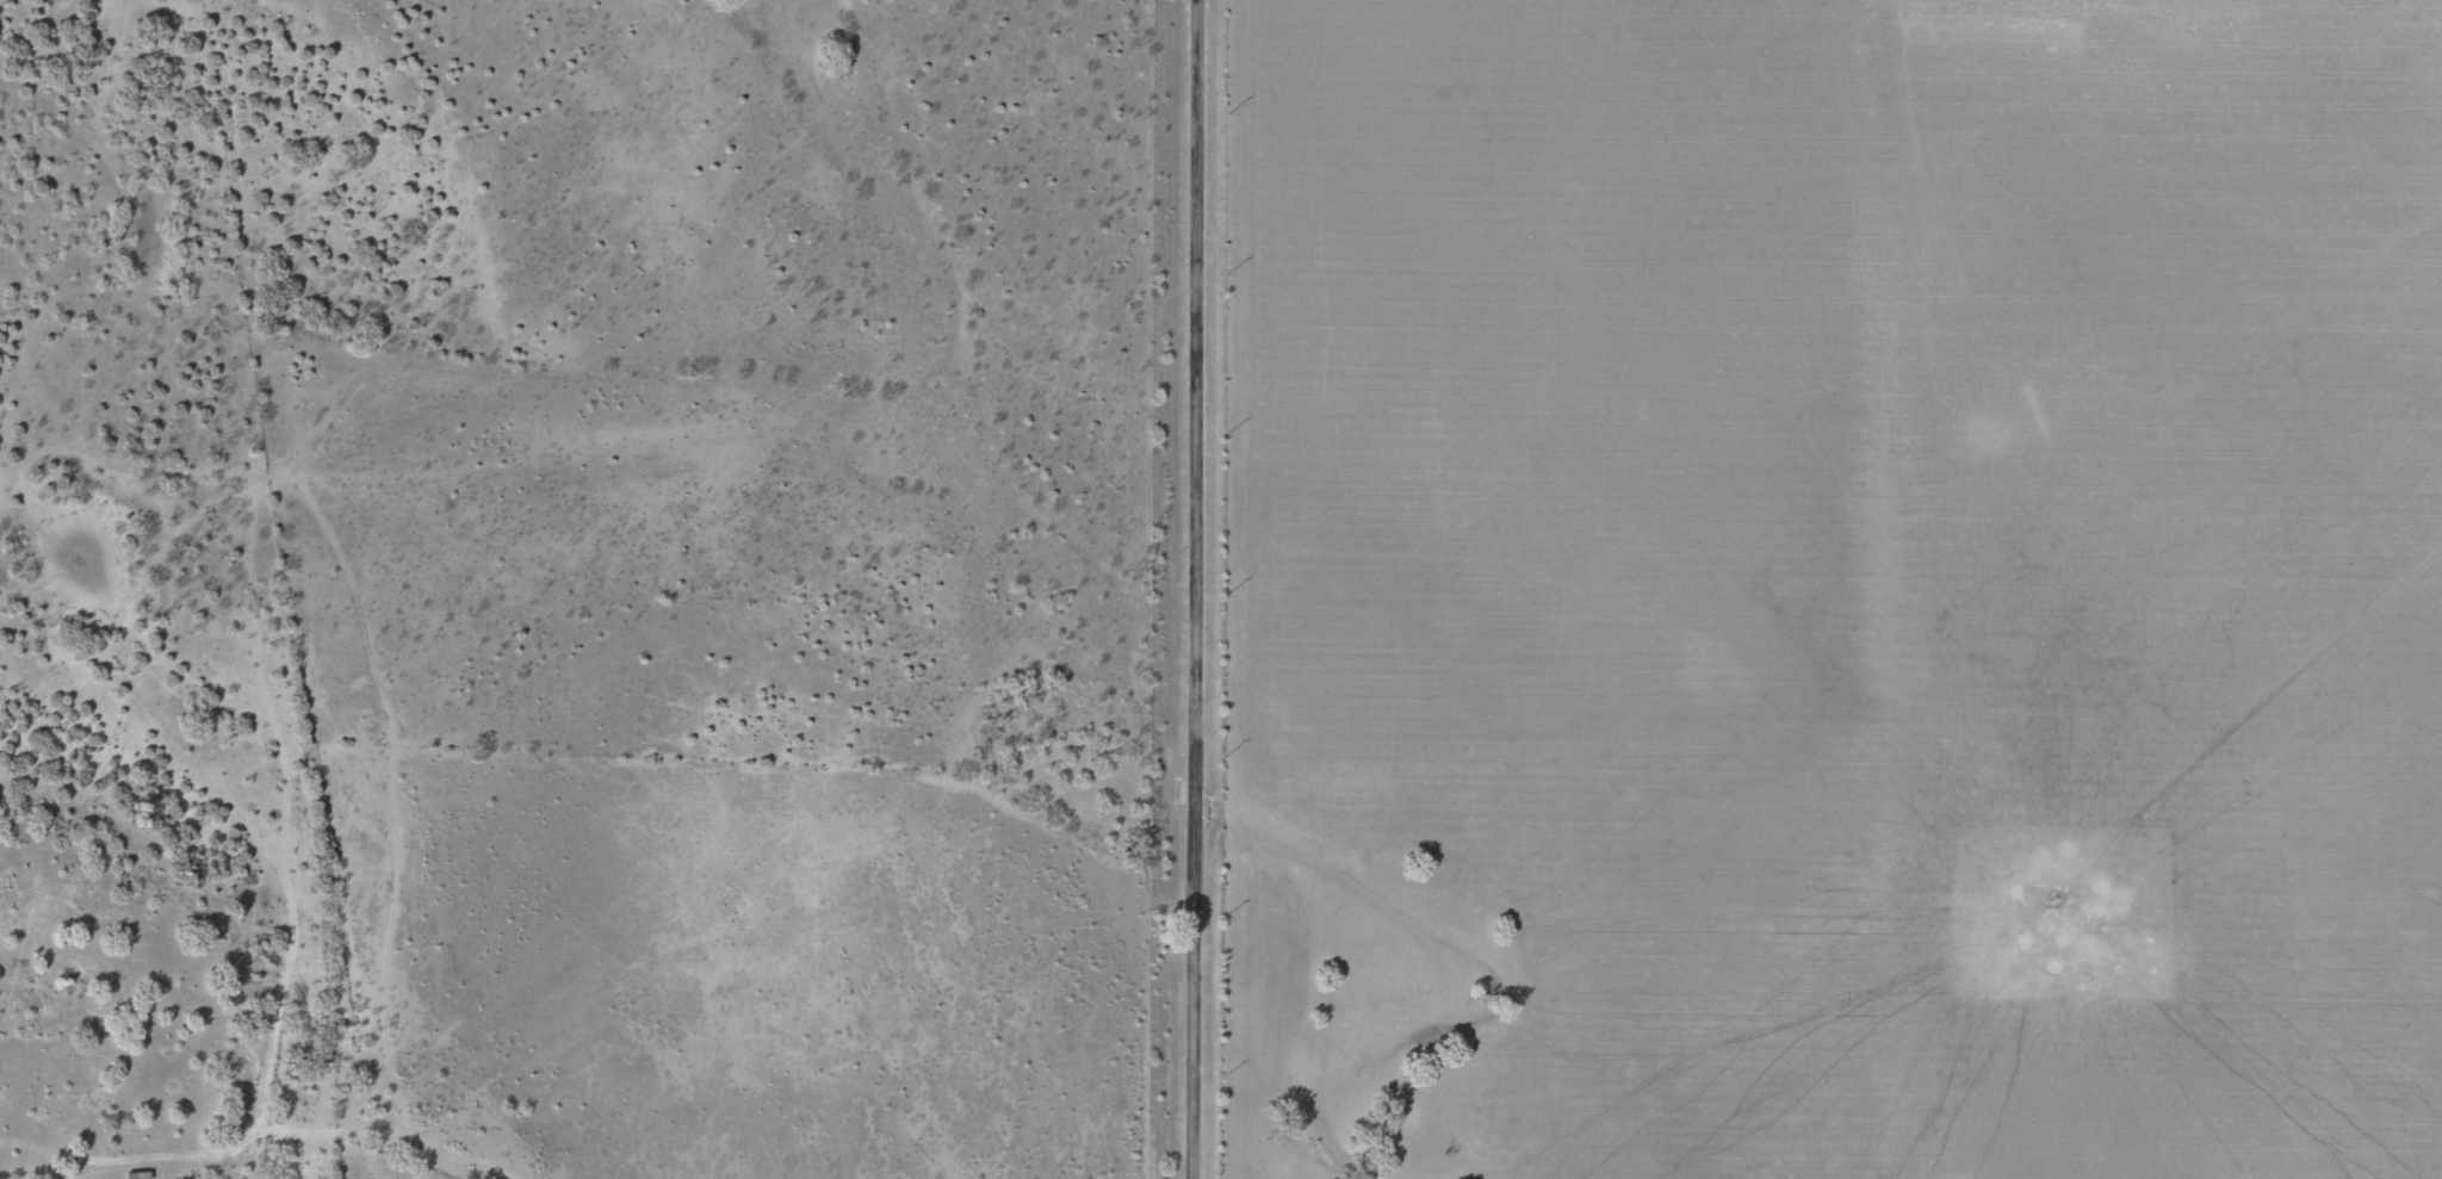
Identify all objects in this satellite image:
road: (1197, 589)
road: (235, 1135)
building: (136, 1175)

